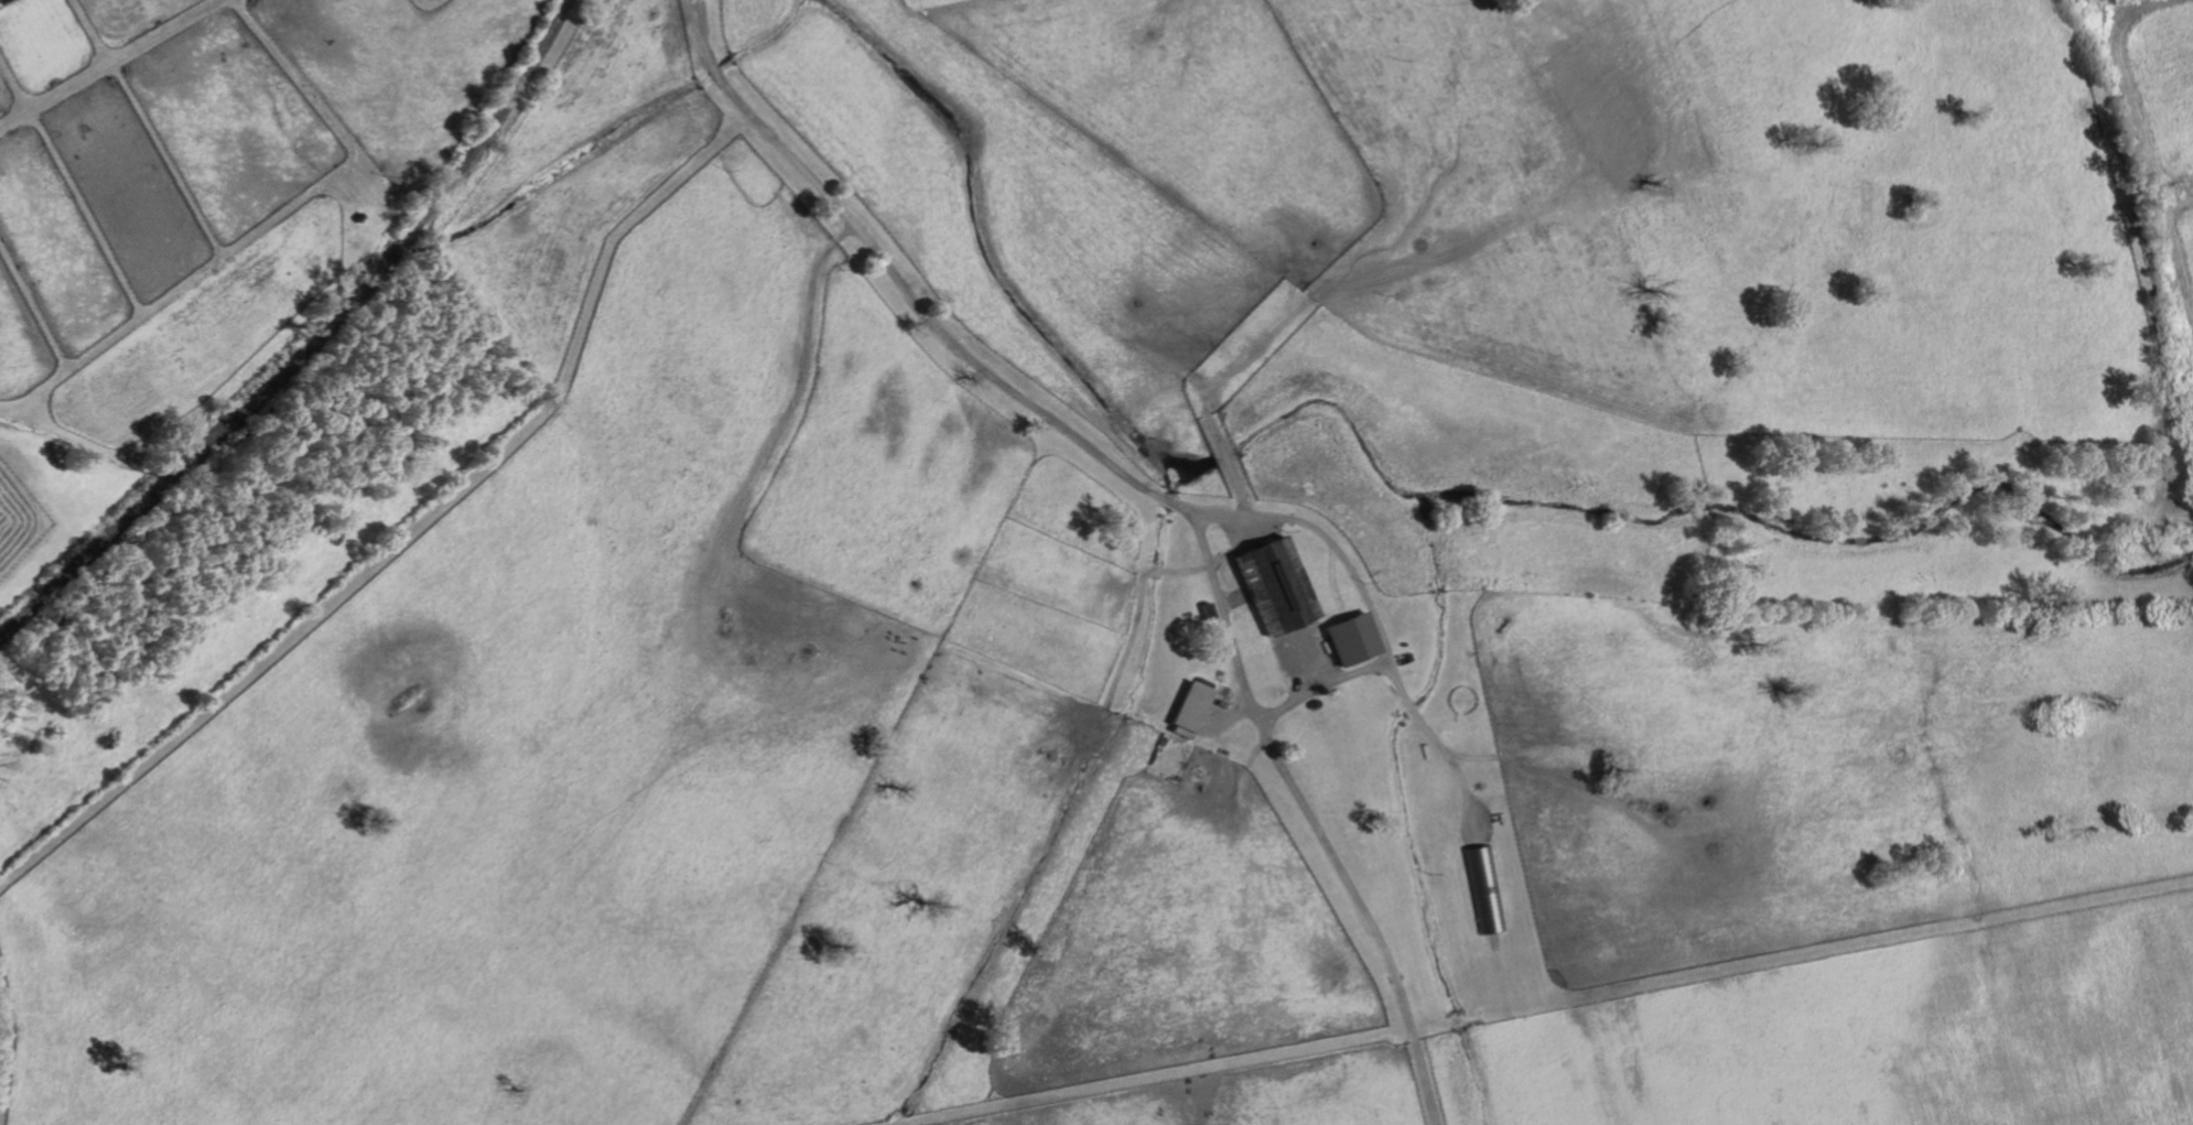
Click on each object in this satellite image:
building: (2, 1)
railway: (311, 342)
road: (1160, 497)
building: (1278, 585)
road: (1373, 613)
building: (1355, 639)
road: (1322, 685)
building: (1193, 706)

